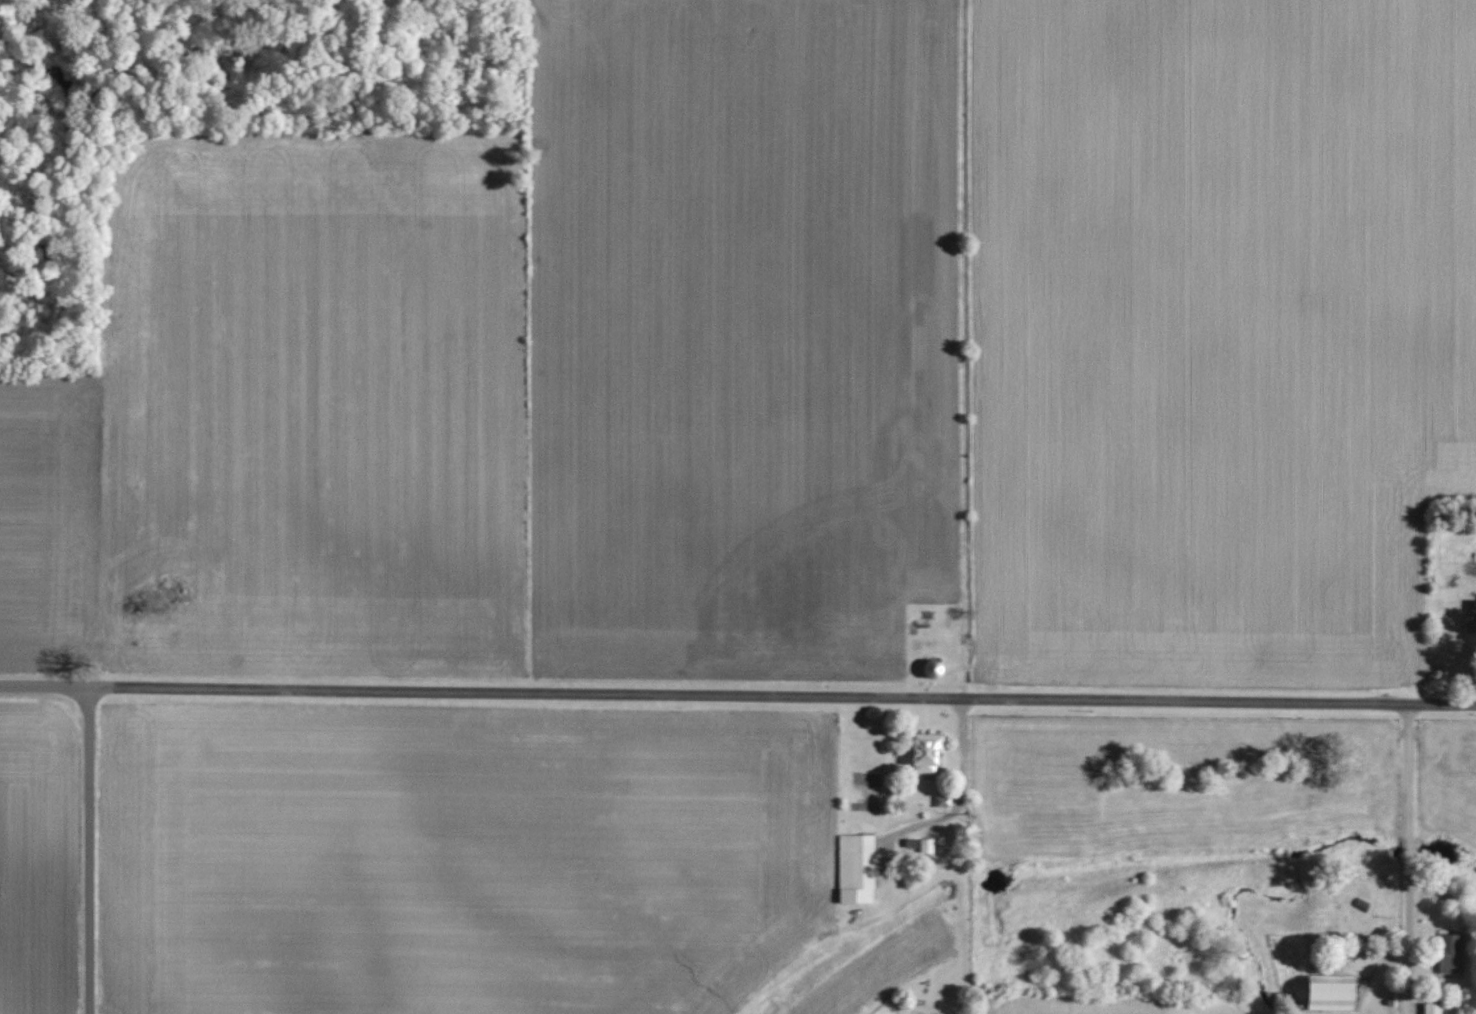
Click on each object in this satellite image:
building: (1472, 616)
road: (737, 695)
building: (928, 752)
building: (944, 802)
building: (928, 846)
road: (89, 850)
road: (953, 855)
road: (1408, 859)
building: (857, 869)
building: (1452, 953)
building: (1335, 992)
building: (1433, 1008)

